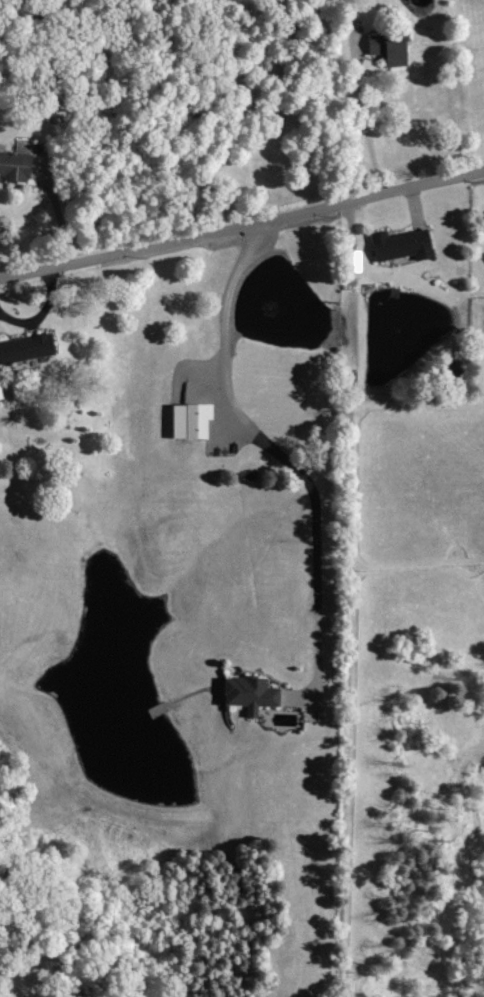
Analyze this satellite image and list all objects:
building: (383, 48)
building: (12, 167)
road: (57, 213)
road: (242, 228)
building: (398, 246)
building: (349, 265)
building: (24, 348)
building: (0, 399)
building: (186, 421)
road: (269, 448)
building: (245, 693)

